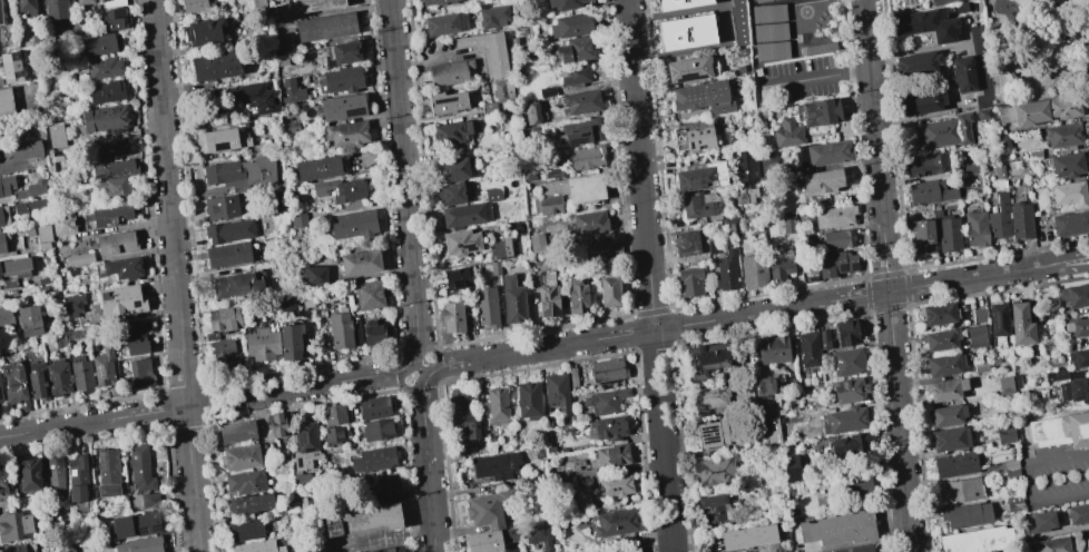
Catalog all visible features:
building: (84, 1)
building: (432, 1)
building: (759, 1)
road: (863, 1)
building: (112, 2)
building: (257, 3)
building: (563, 3)
building: (678, 3)
building: (317, 4)
building: (24, 6)
building: (193, 7)
building: (56, 9)
road: (679, 11)
building: (767, 13)
building: (0, 14)
building: (492, 16)
building: (111, 19)
building: (738, 22)
building: (444, 23)
road: (725, 23)
building: (925, 24)
building: (324, 26)
building: (571, 26)
building: (769, 31)
building: (206, 32)
building: (685, 32)
building: (975, 39)
building: (99, 43)
building: (820, 48)
building: (577, 49)
building: (771, 49)
building: (488, 51)
building: (341, 52)
building: (915, 63)
building: (216, 66)
building: (10, 67)
building: (104, 67)
building: (687, 69)
building: (450, 72)
building: (572, 75)
building: (962, 75)
road: (816, 78)
building: (341, 79)
building: (106, 91)
building: (291, 91)
building: (499, 91)
building: (546, 91)
building: (253, 97)
building: (703, 98)
building: (6, 101)
building: (581, 101)
building: (920, 101)
building: (447, 102)
building: (1063, 106)
building: (343, 107)
building: (489, 109)
building: (821, 111)
building: (532, 112)
building: (1023, 112)
building: (983, 114)
road: (918, 115)
building: (105, 118)
building: (290, 127)
rooftop solar panel: (567, 130)
building: (581, 131)
building: (942, 131)
building: (451, 132)
building: (787, 132)
building: (347, 134)
building: (55, 135)
building: (1062, 135)
building: (693, 136)
building: (216, 140)
building: (1002, 144)
road: (875, 147)
rooftop solar panel: (223, 148)
building: (24, 150)
building: (110, 150)
building: (823, 152)
building: (586, 157)
building: (51, 160)
building: (767, 160)
building: (928, 165)
building: (1067, 165)
building: (746, 166)
building: (317, 168)
building: (116, 169)
building: (452, 169)
building: (1003, 171)
building: (242, 172)
building: (553, 174)
building: (700, 175)
building: (530, 177)
building: (821, 180)
road: (404, 181)
building: (6, 184)
building: (112, 187)
building: (573, 187)
building: (30, 189)
building: (340, 189)
building: (929, 193)
building: (452, 194)
building: (493, 194)
building: (1069, 194)
building: (747, 195)
building: (549, 204)
building: (29, 205)
building: (699, 206)
building: (220, 207)
building: (464, 214)
building: (110, 215)
building: (833, 216)
building: (999, 217)
building: (1, 218)
building: (297, 219)
building: (1020, 220)
building: (590, 223)
building: (1070, 223)
building: (66, 224)
building: (354, 225)
building: (787, 226)
building: (975, 229)
building: (228, 230)
building: (29, 231)
building: (949, 234)
building: (43, 236)
building: (921, 236)
building: (836, 238)
building: (3, 240)
building: (114, 243)
building: (460, 243)
building: (537, 243)
building: (686, 243)
building: (606, 248)
building: (500, 249)
building: (227, 254)
building: (78, 258)
road: (1076, 260)
building: (359, 263)
building: (834, 263)
building: (779, 264)
rooftop solar panel: (854, 266)
building: (122, 267)
building: (494, 267)
rooftop solar panel: (842, 267)
building: (13, 270)
building: (71, 270)
building: (753, 270)
building: (810, 270)
building: (726, 272)
building: (314, 275)
road: (649, 275)
road: (175, 276)
road: (975, 277)
building: (457, 278)
building: (41, 280)
building: (688, 282)
building: (236, 285)
building: (41, 288)
building: (609, 289)
building: (367, 294)
building: (548, 296)
building: (577, 297)
building: (1077, 299)
building: (120, 300)
building: (512, 300)
building: (71, 304)
rooftop solar panel: (136, 304)
building: (286, 305)
building: (485, 307)
rooftop solar panel: (549, 309)
building: (451, 316)
building: (6, 317)
building: (223, 318)
building: (944, 318)
rooftop solar panel: (995, 319)
building: (29, 321)
rooftop solar panel: (1004, 321)
building: (1004, 324)
building: (1028, 327)
building: (340, 329)
road: (656, 329)
building: (845, 333)
building: (73, 336)
building: (212, 336)
building: (373, 336)
building: (975, 336)
building: (1076, 336)
building: (136, 338)
building: (59, 339)
building: (824, 339)
building: (290, 341)
building: (982, 342)
building: (262, 344)
building: (946, 344)
building: (773, 348)
building: (807, 348)
building: (223, 354)
building: (704, 359)
building: (1081, 362)
building: (846, 363)
building: (980, 366)
road: (419, 369)
building: (607, 369)
building: (105, 371)
building: (951, 371)
rooftop solar panel: (99, 372)
building: (81, 373)
building: (139, 373)
building: (57, 377)
building: (1059, 378)
building: (36, 381)
building: (14, 384)
building: (1004, 385)
building: (764, 386)
building: (848, 390)
building: (556, 392)
building: (1076, 394)
building: (0, 395)
building: (952, 395)
building: (709, 397)
building: (528, 400)
building: (605, 401)
building: (744, 401)
road: (206, 403)
building: (497, 405)
building: (373, 408)
building: (463, 413)
building: (334, 414)
building: (846, 420)
building: (953, 420)
rooftop solar panel: (766, 421)
road: (899, 422)
building: (275, 424)
building: (769, 425)
building: (608, 427)
building: (376, 428)
building: (236, 431)
building: (1004, 433)
building: (712, 434)
rooftop solar panel: (716, 434)
building: (1063, 434)
building: (333, 436)
rooftop solar panel: (300, 440)
building: (304, 444)
building: (848, 444)
building: (958, 444)
building: (788, 448)
building: (612, 455)
building: (239, 456)
building: (371, 459)
rooftop solar panel: (102, 463)
road: (428, 464)
building: (496, 465)
building: (139, 467)
building: (789, 467)
building: (962, 467)
building: (714, 472)
building: (1014, 472)
building: (107, 473)
building: (53, 474)
building: (29, 476)
building: (77, 477)
road: (1032, 479)
building: (245, 482)
building: (855, 482)
building: (380, 484)
building: (3, 485)
building: (614, 485)
building: (965, 494)
building: (149, 500)
building: (823, 502)
building: (249, 504)
building: (1017, 506)
building: (714, 507)
building: (488, 509)
building: (1080, 517)
building: (362, 519)
building: (972, 519)
building: (616, 522)
building: (135, 524)
building: (16, 525)
building: (837, 528)
building: (1046, 528)
rooftop solar panel: (156, 529)
building: (245, 529)
rooftop solar panel: (141, 530)
building: (538, 534)
building: (747, 535)
building: (482, 542)
building: (984, 542)
building: (139, 544)
building: (1087, 544)
building: (1057, 545)
building: (257, 546)
building: (20, 548)
rooftop solar panel: (247, 549)
building: (855, 549)
building: (390, 550)
building: (625, 550)

